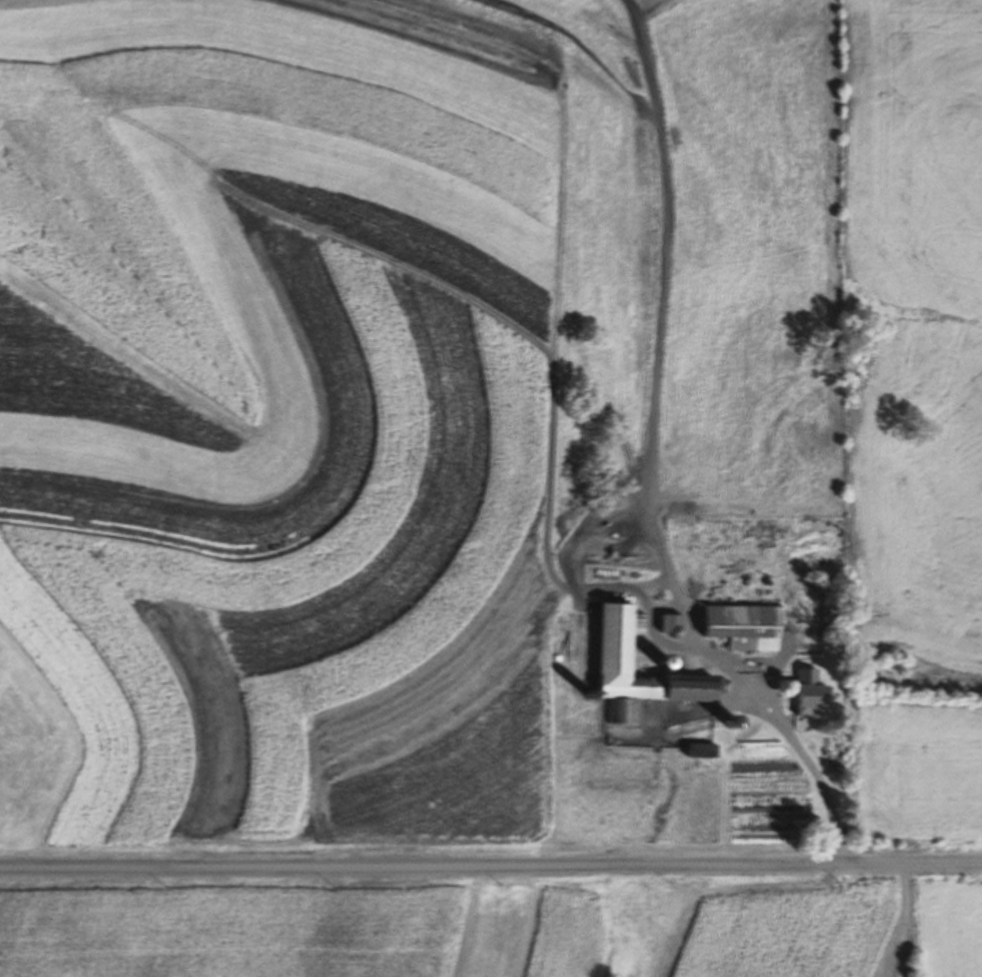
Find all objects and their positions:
building: (833, 614)
road: (659, 624)
building: (755, 626)
building: (620, 638)
building: (819, 694)
building: (721, 719)
road: (790, 737)
building: (704, 749)
road: (491, 867)

